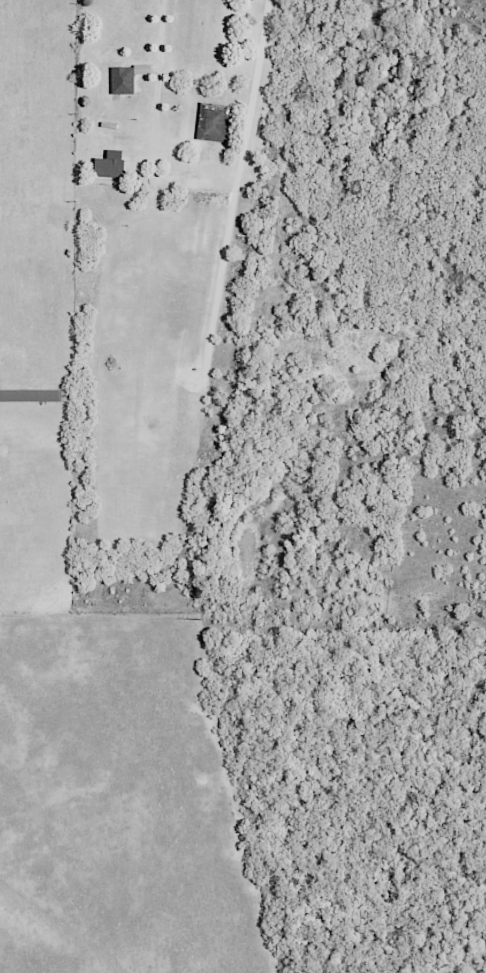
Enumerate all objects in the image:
building: (125, 78)
road: (155, 85)
building: (214, 123)
road: (245, 137)
building: (107, 168)
building: (46, 396)
power tower: (201, 617)

